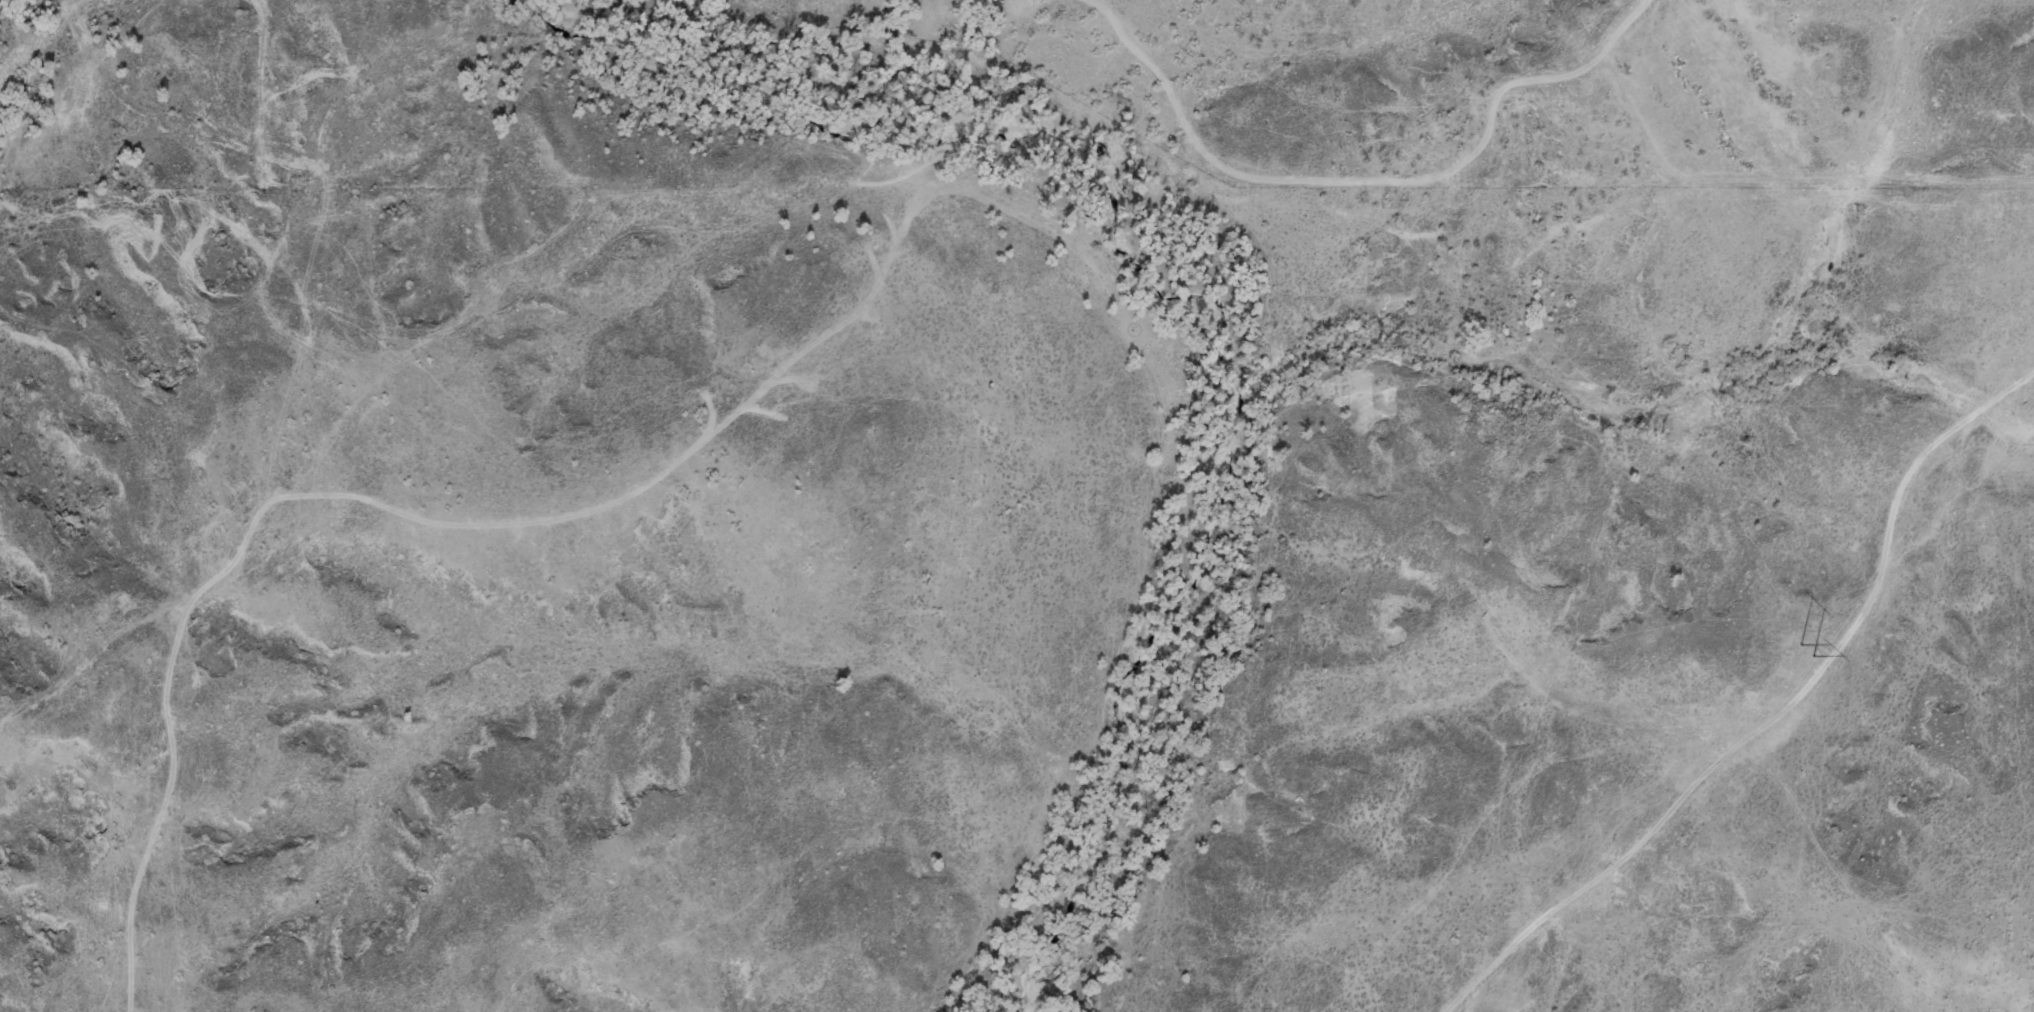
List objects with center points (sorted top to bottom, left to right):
power tower: (1809, 647)

